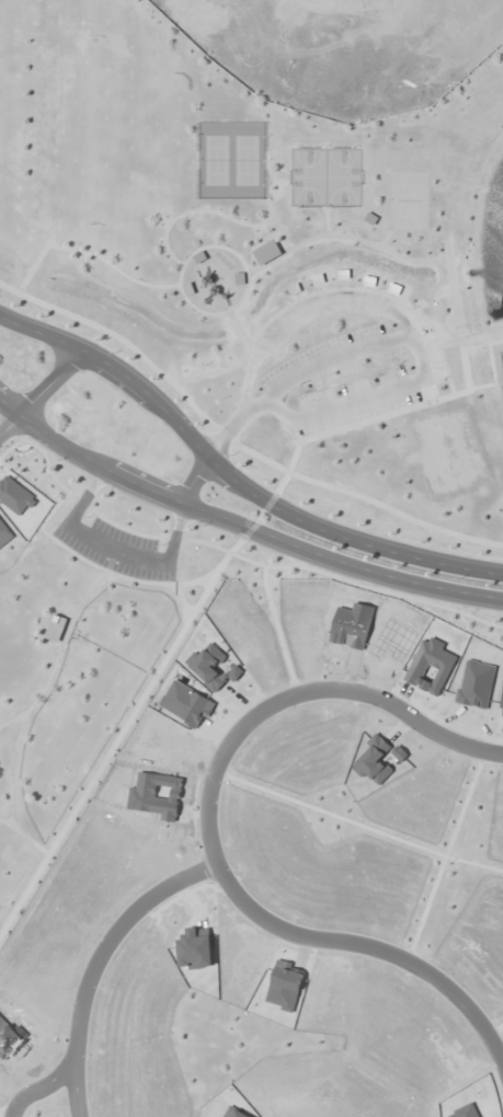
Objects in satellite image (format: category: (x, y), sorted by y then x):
park: (232, 159)
park: (325, 175)
park: (408, 200)
building: (375, 218)
building: (271, 246)
park: (266, 263)
building: (346, 273)
building: (320, 277)
building: (374, 279)
building: (297, 287)
building: (399, 288)
road: (49, 380)
parking lot: (355, 381)
road: (278, 401)
road: (8, 423)
road: (233, 442)
road: (233, 475)
road: (196, 481)
road: (272, 502)
road: (99, 514)
road: (263, 516)
road: (241, 526)
road: (252, 530)
parking lot: (117, 548)
road: (102, 568)
road: (367, 586)
road: (89, 594)
road: (184, 602)
building: (59, 624)
road: (278, 629)
park: (88, 653)
road: (298, 691)
road: (41, 693)
road: (121, 737)
road: (12, 771)
road: (356, 822)
road: (24, 836)
road: (446, 854)
road: (110, 943)
road: (371, 944)
road: (495, 1030)
road: (59, 1078)
road: (4, 1115)

